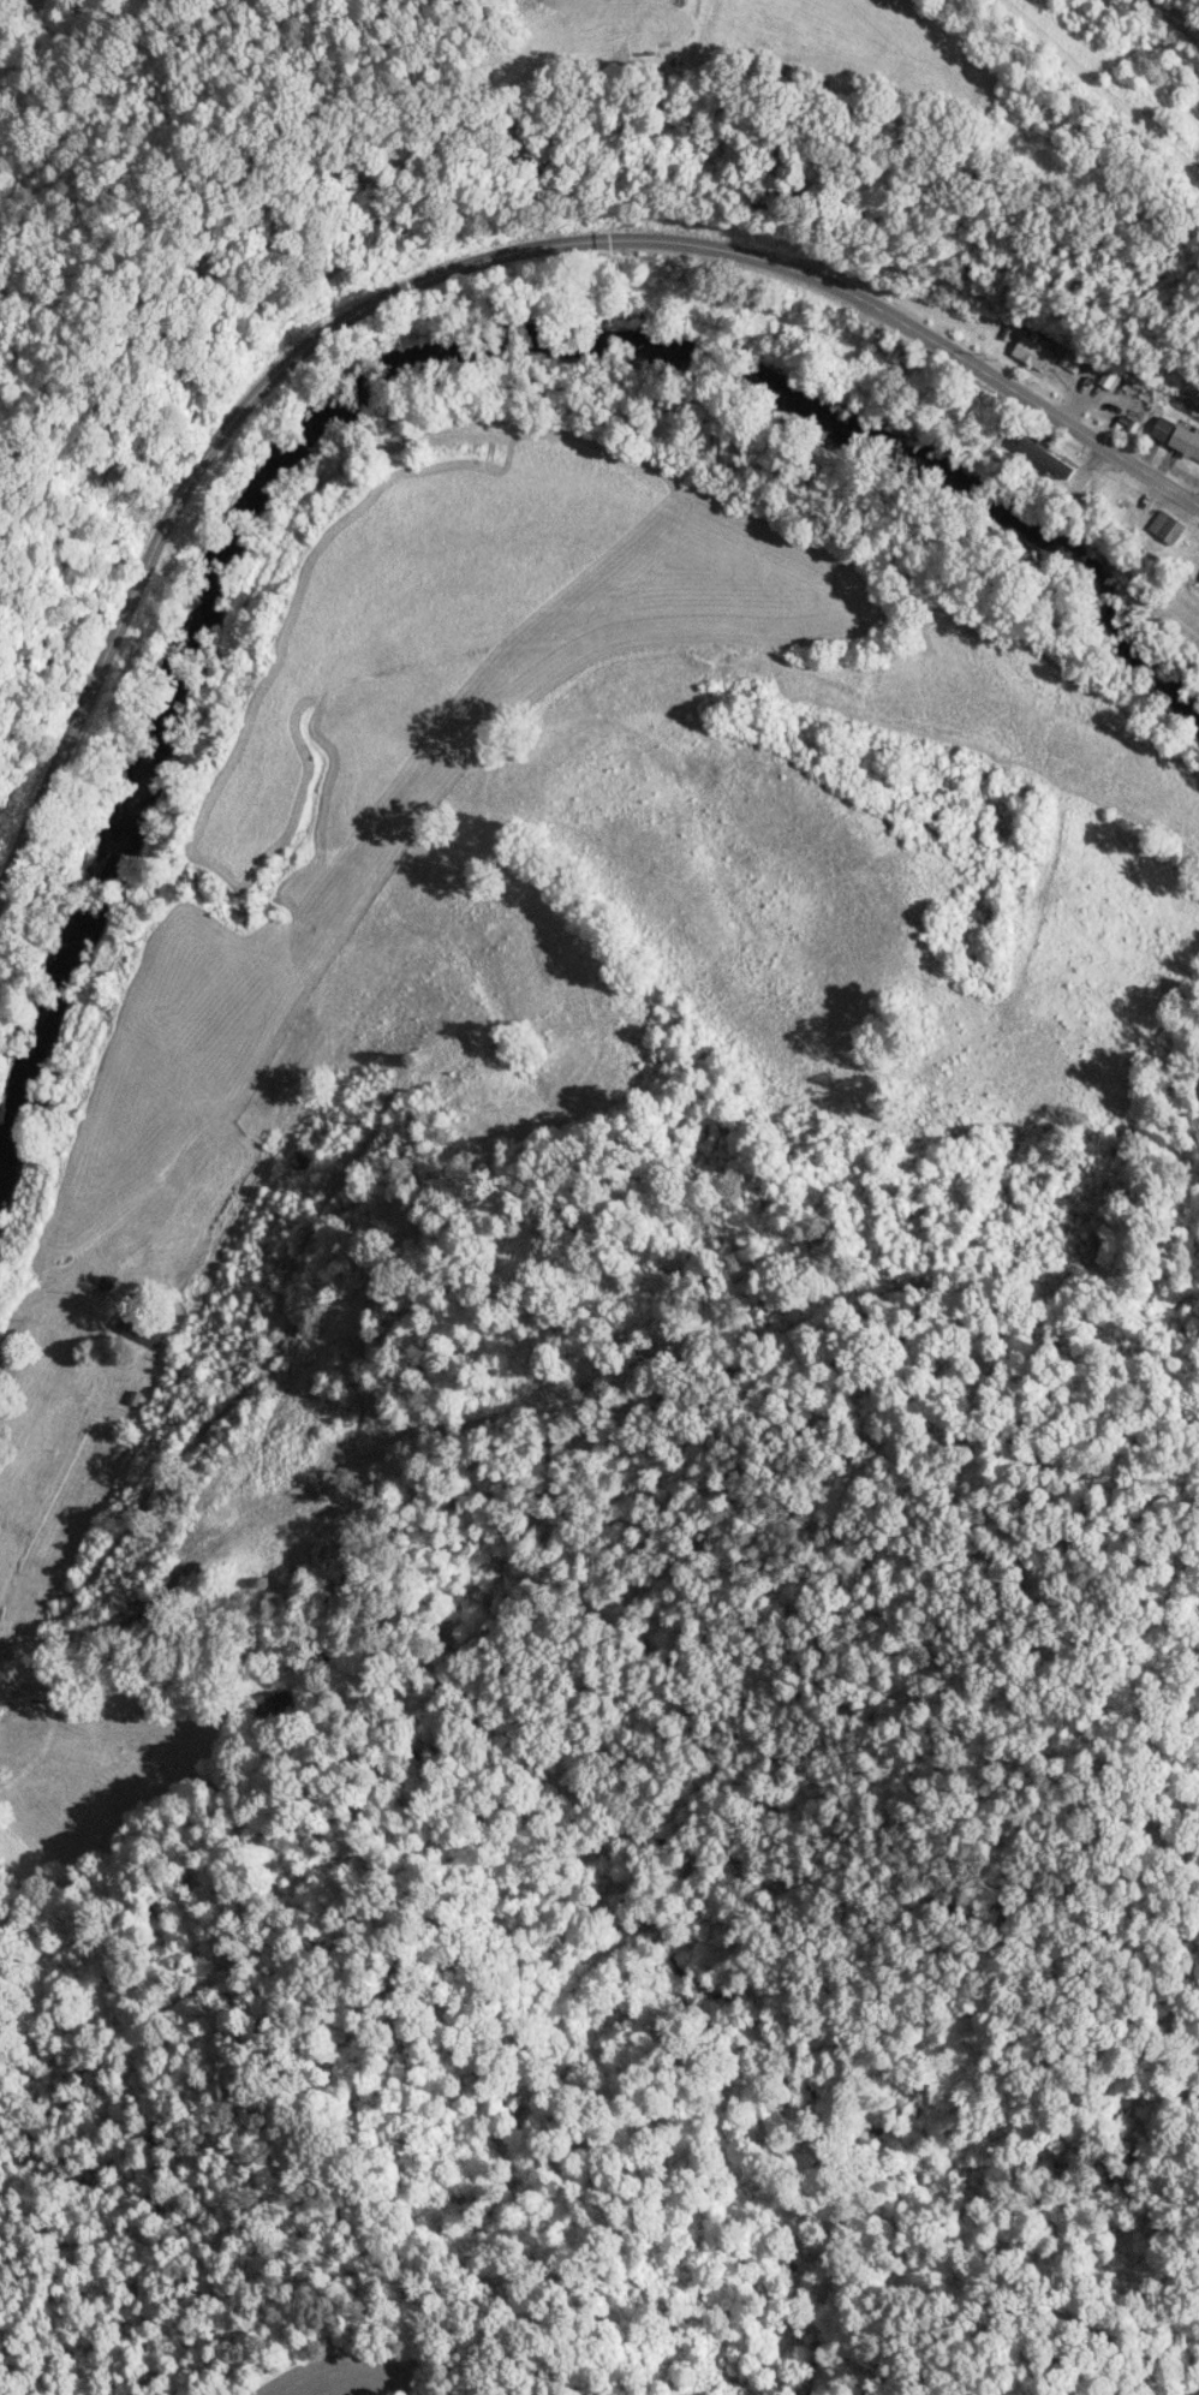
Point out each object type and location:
road: (458, 268)
building: (1027, 356)
building: (881, 363)
river: (390, 375)
building: (1174, 440)
building: (1163, 530)
building: (1197, 584)
road: (37, 1411)

